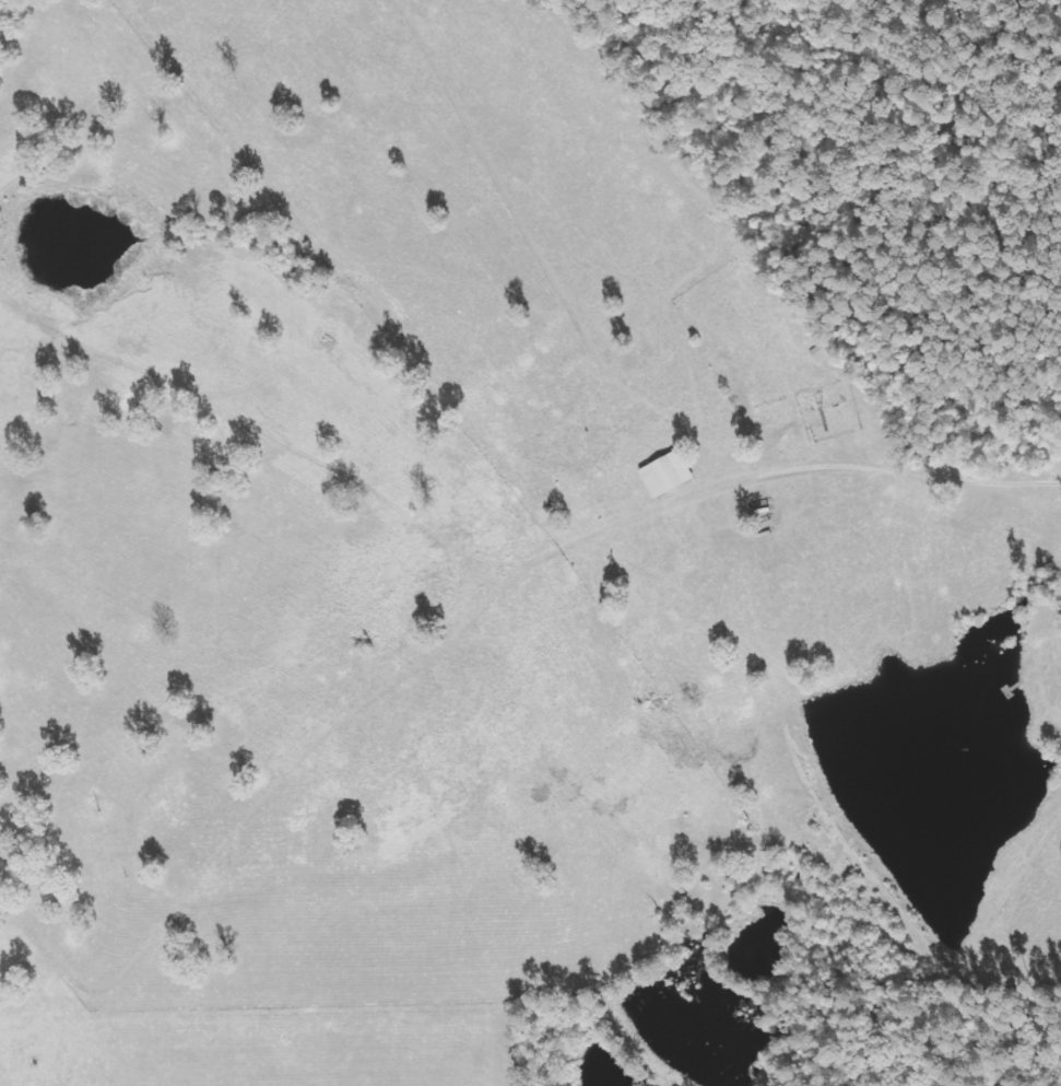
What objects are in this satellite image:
building: (665, 474)
road: (786, 530)

